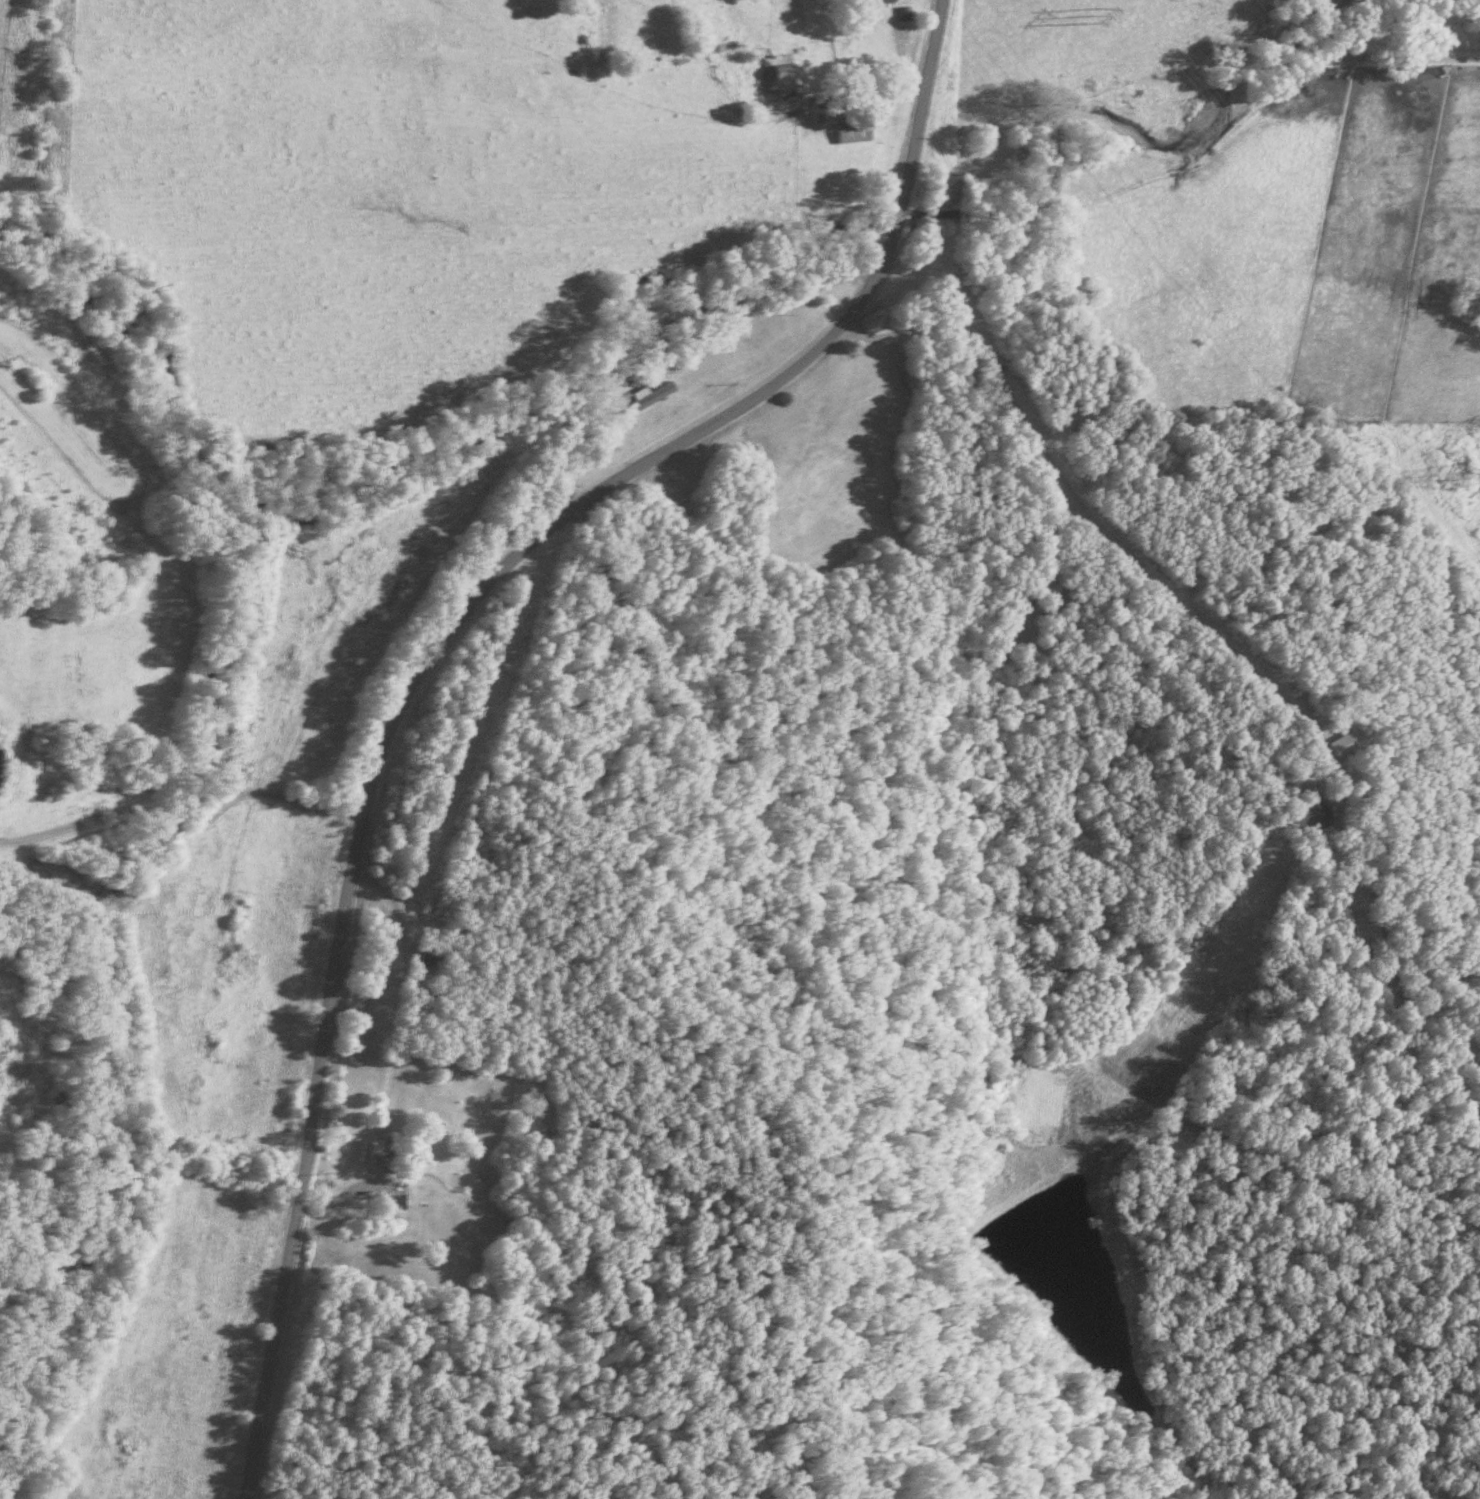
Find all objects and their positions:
building: (867, 2)
building: (771, 73)
road: (841, 92)
building: (842, 99)
building: (844, 132)
building: (681, 322)
road: (728, 331)
building: (643, 397)
power tower: (1446, 476)
road: (1086, 530)
building: (1047, 600)
road: (429, 651)
building: (1308, 814)
road: (180, 835)
road: (390, 916)
building: (364, 1154)
building: (377, 1205)

